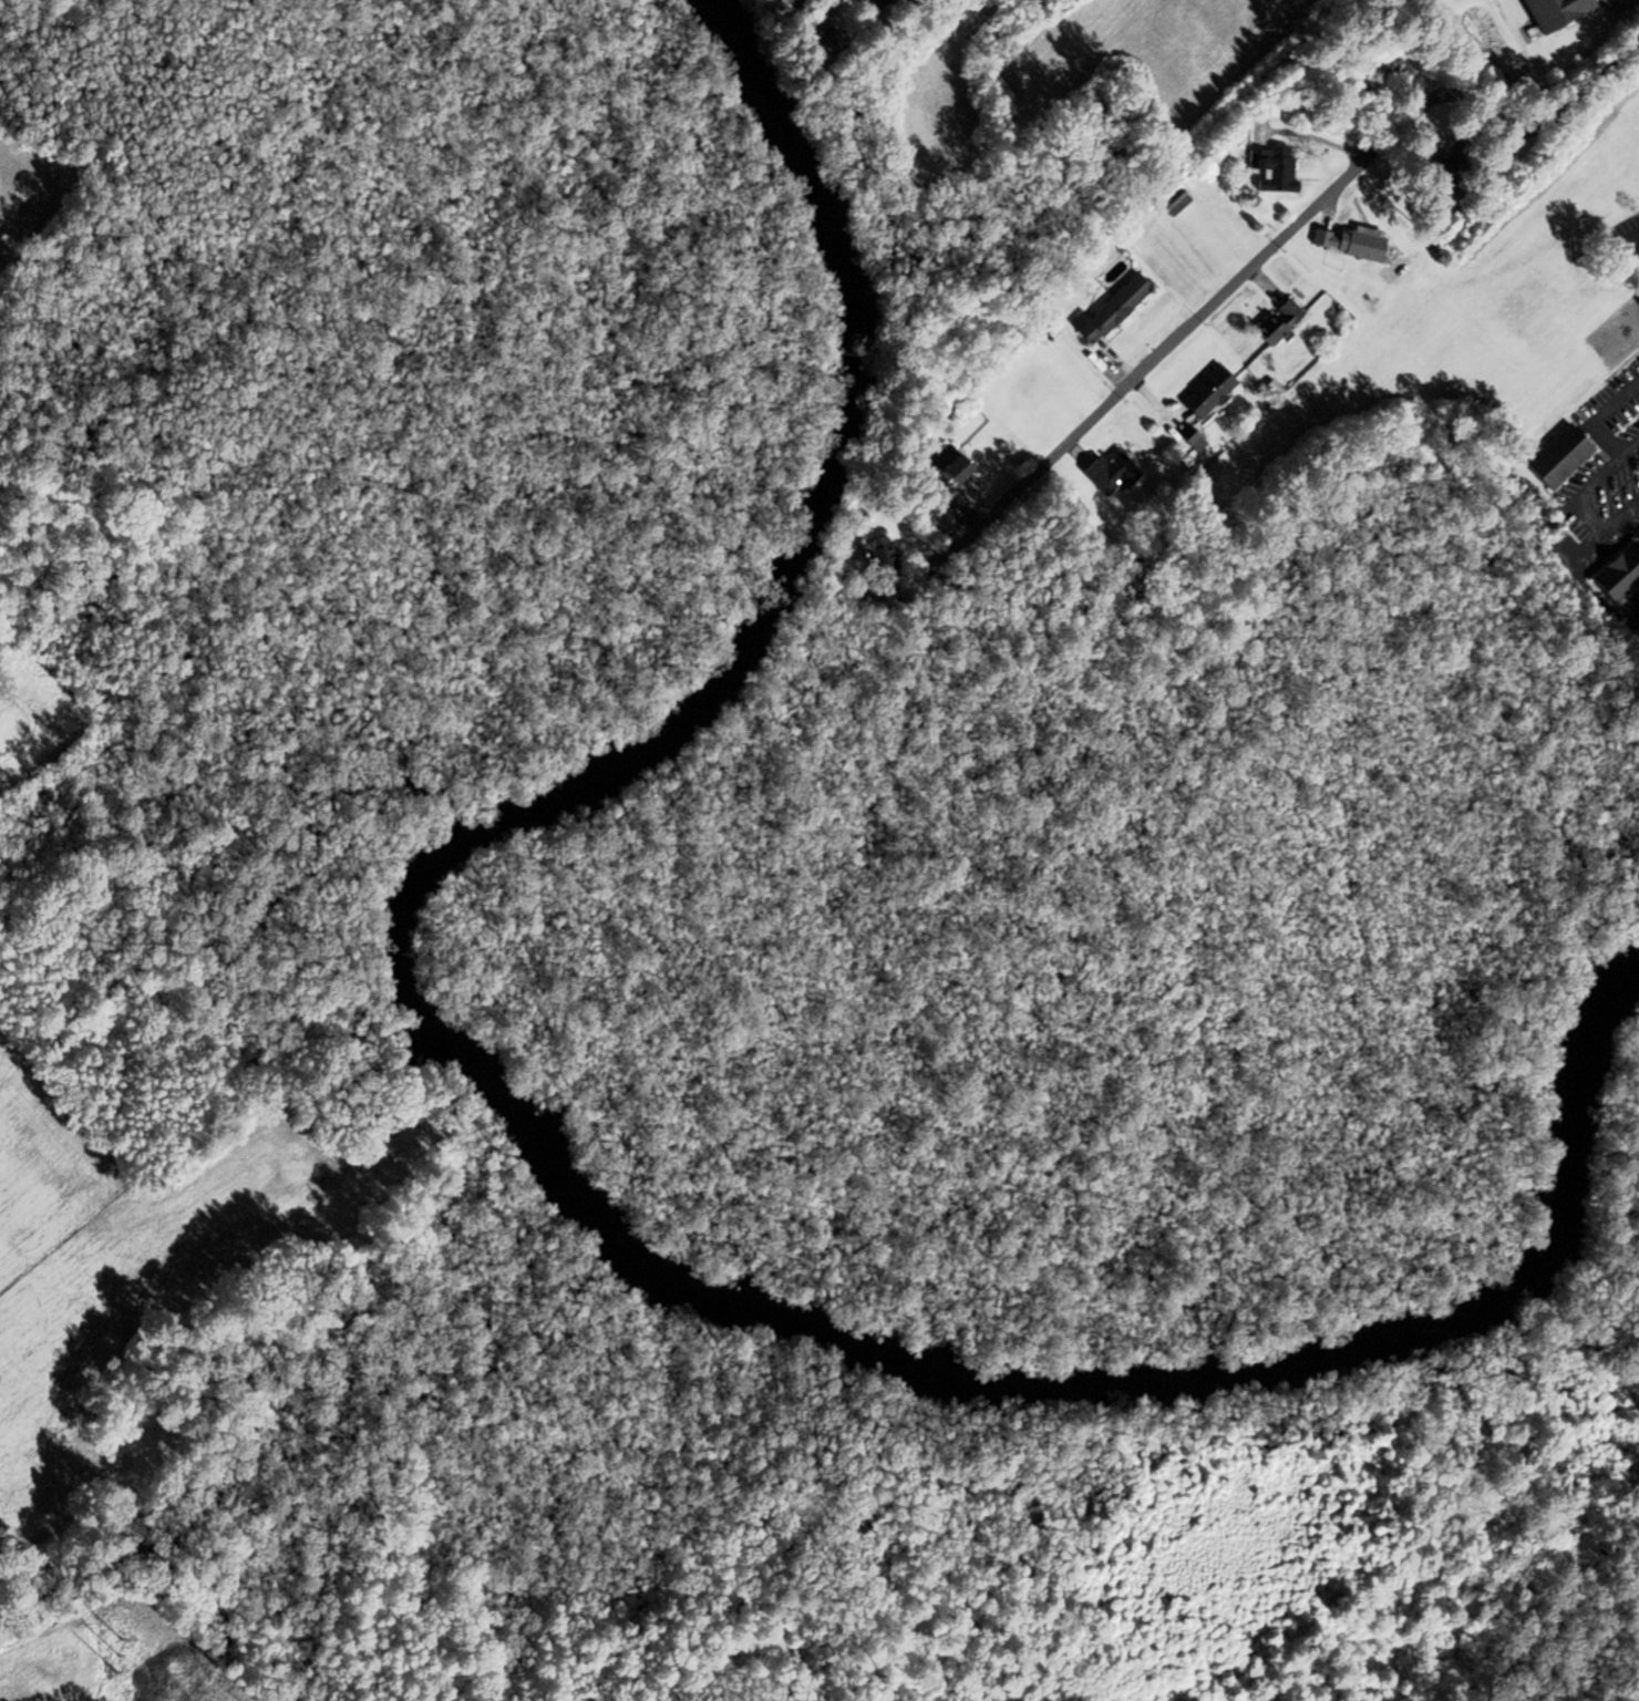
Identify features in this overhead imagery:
road: (785, 6)
building: (1594, 27)
building: (1378, 75)
building: (1270, 168)
building: (1444, 169)
building: (1173, 203)
road: (1284, 230)
building: (1350, 244)
building: (1109, 310)
building: (1277, 322)
building: (1205, 392)
building: (1556, 457)
building: (952, 468)
building: (1109, 473)
building: (877, 553)
building: (1617, 574)
power tower: (117, 1648)

